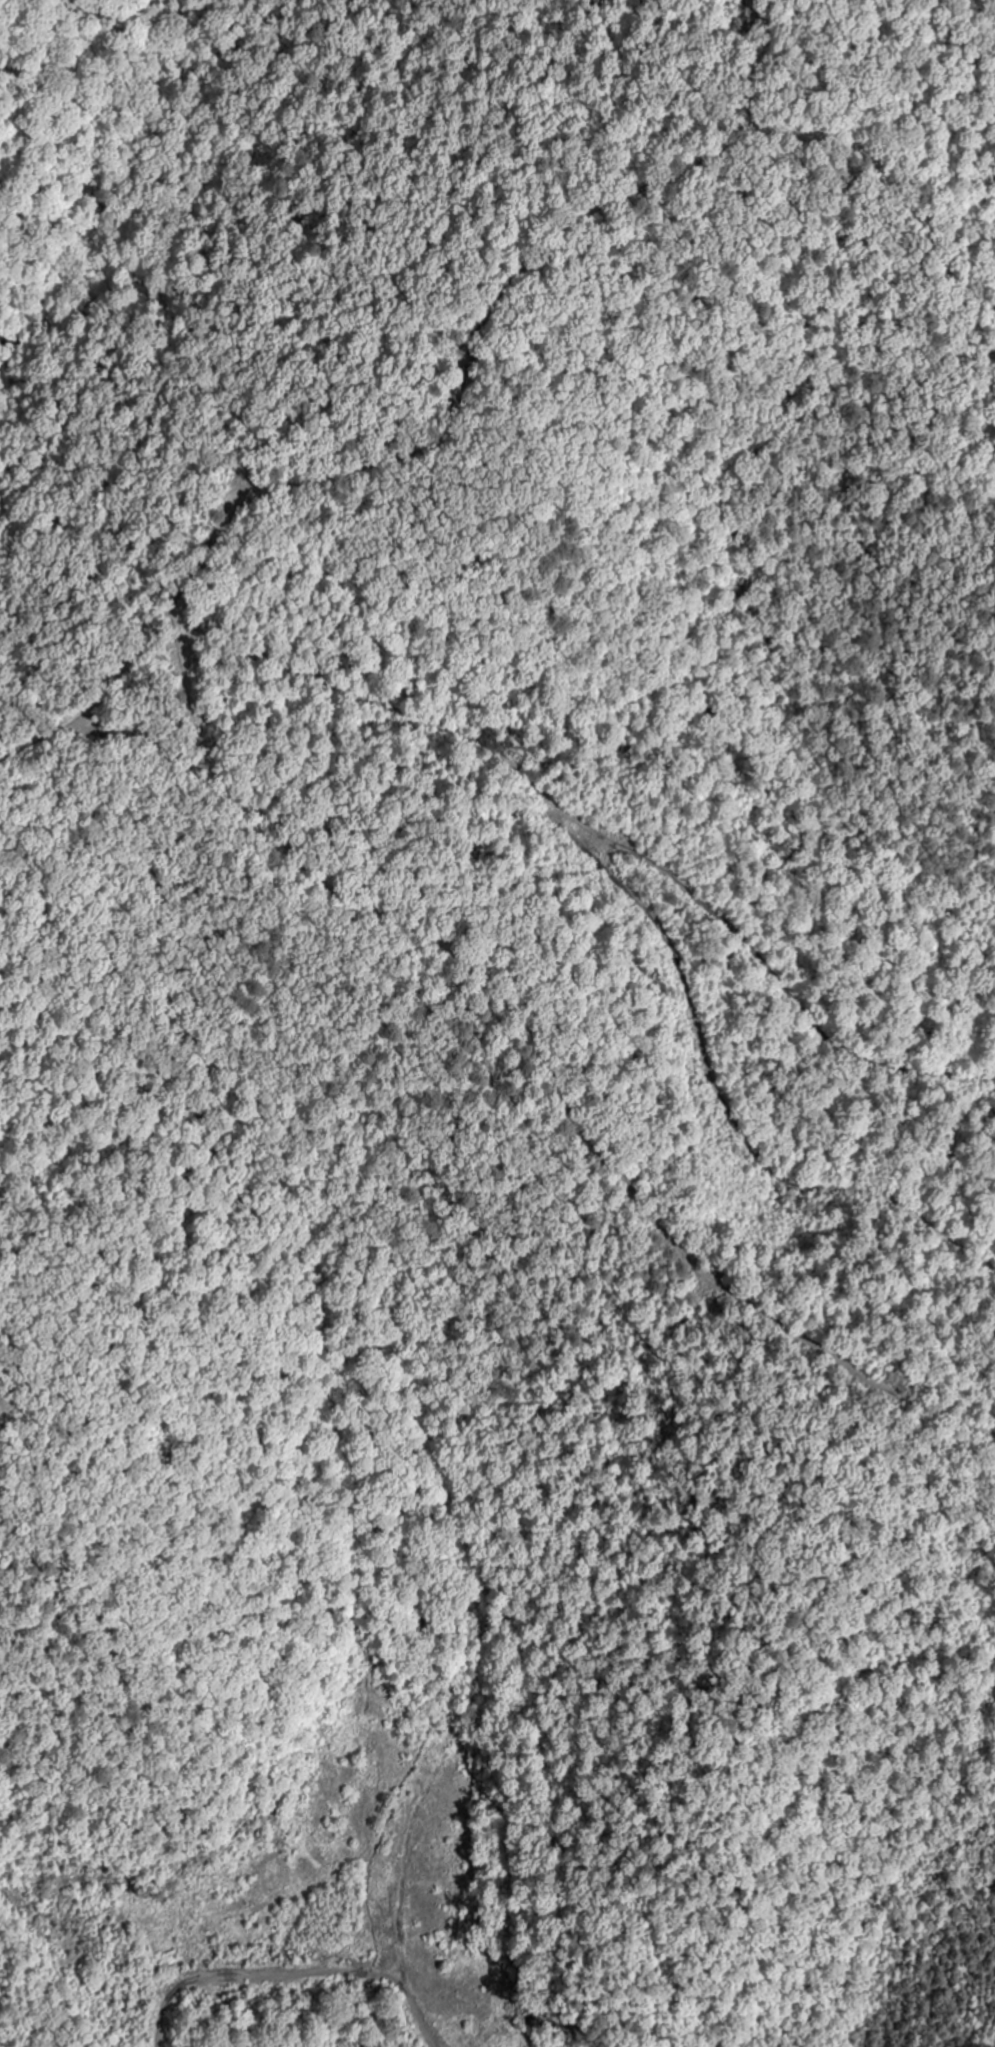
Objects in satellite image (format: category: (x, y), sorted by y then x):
road: (439, 409)

